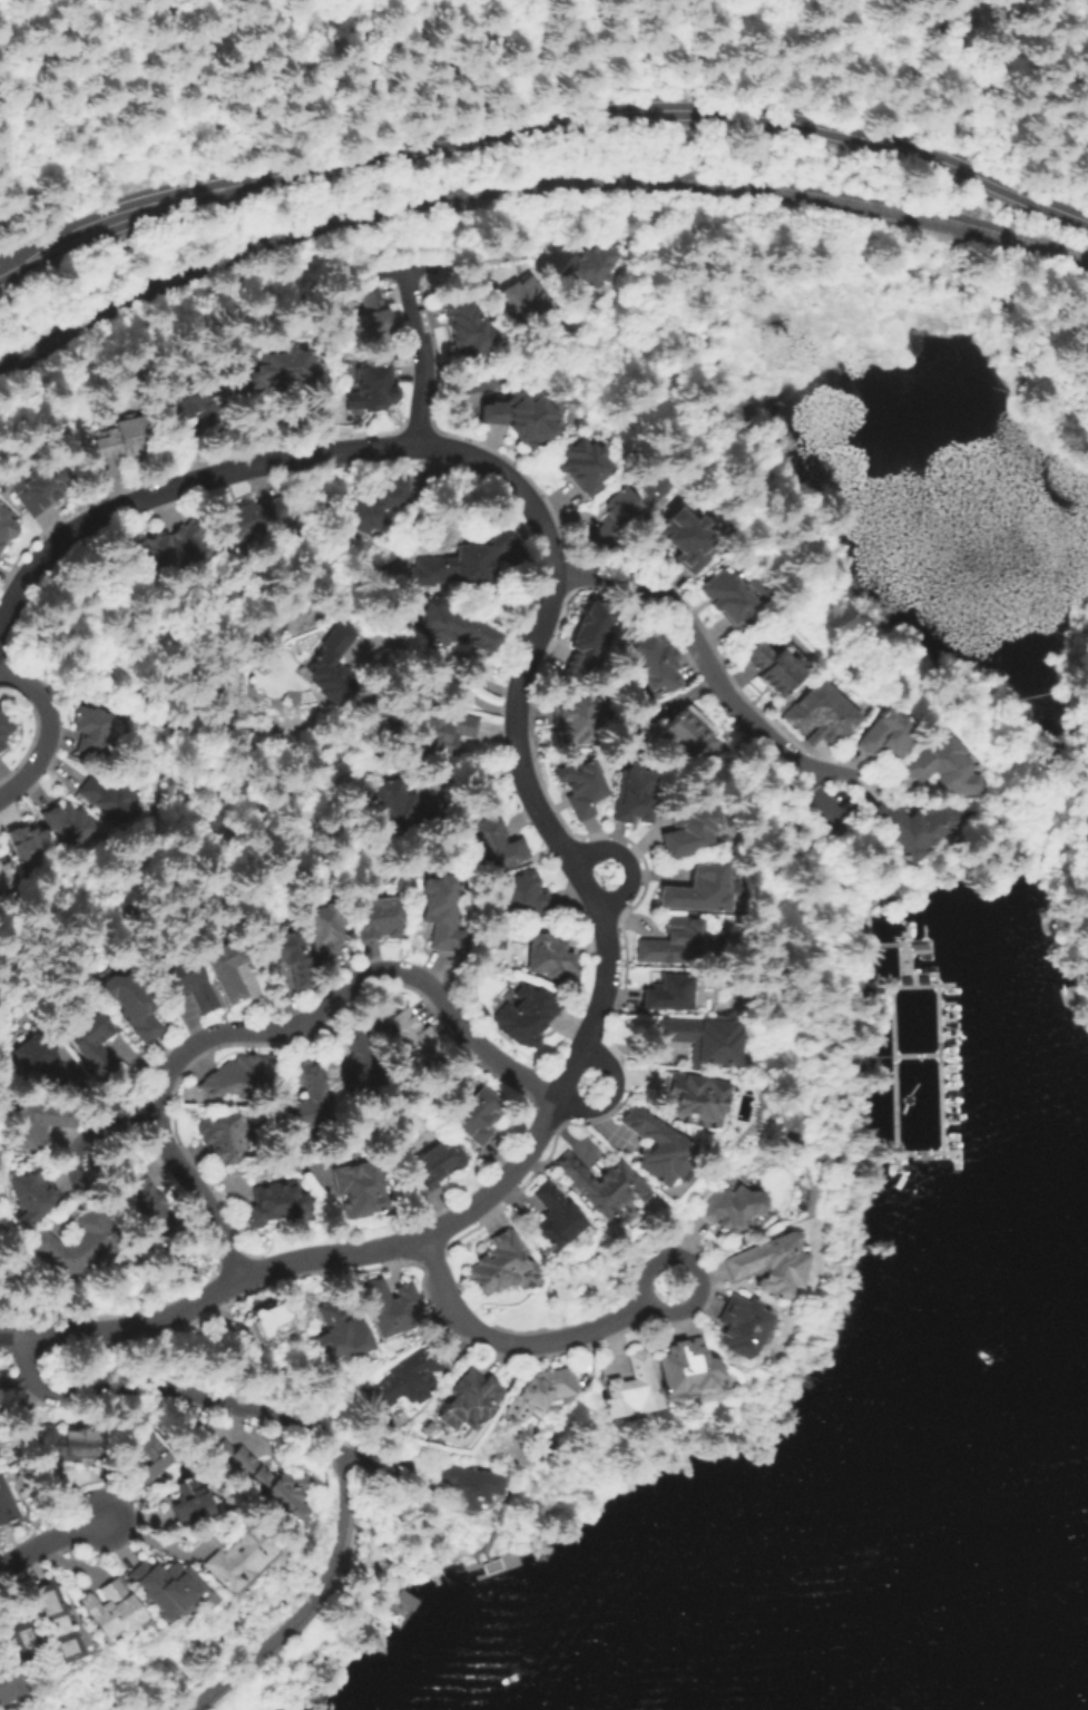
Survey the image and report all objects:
park: (503, 75)
road: (529, 125)
road: (889, 143)
railway: (529, 184)
road: (186, 195)
building: (590, 265)
road: (480, 268)
building: (529, 300)
building: (372, 319)
building: (468, 328)
road: (423, 352)
building: (271, 372)
building: (375, 385)
building: (187, 402)
building: (523, 419)
building: (124, 438)
road: (427, 444)
building: (584, 466)
building: (39, 486)
building: (378, 505)
building: (618, 518)
building: (252, 519)
building: (7, 527)
building: (687, 540)
building: (173, 549)
building: (465, 564)
building: (733, 597)
building: (451, 628)
building: (588, 639)
road: (695, 643)
building: (326, 656)
road: (437, 664)
building: (656, 664)
building: (775, 666)
building: (827, 713)
building: (577, 723)
building: (4, 725)
road: (47, 729)
building: (447, 729)
building: (95, 732)
building: (687, 733)
building: (885, 735)
building: (1, 745)
building: (940, 768)
road: (830, 770)
building: (581, 786)
building: (636, 794)
building: (112, 801)
building: (405, 805)
building: (69, 824)
building: (913, 828)
building: (689, 832)
building: (30, 846)
building: (498, 846)
road: (814, 852)
road: (625, 861)
building: (6, 877)
road: (579, 883)
building: (698, 890)
building: (528, 900)
building: (442, 912)
building: (380, 918)
building: (325, 931)
building: (672, 945)
building: (288, 957)
building: (550, 957)
building: (226, 970)
road: (606, 977)
building: (185, 983)
building: (668, 994)
building: (135, 1004)
building: (527, 1019)
road: (271, 1026)
building: (705, 1039)
building: (413, 1040)
building: (95, 1044)
building: (37, 1062)
road: (571, 1066)
building: (360, 1067)
building: (236, 1077)
road: (610, 1096)
building: (306, 1104)
building: (693, 1104)
pier: (939, 1111)
building: (478, 1116)
building: (37, 1123)
road: (96, 1135)
building: (224, 1140)
building: (658, 1147)
road: (251, 1163)
building: (434, 1167)
building: (602, 1184)
building: (356, 1190)
building: (33, 1195)
building: (273, 1203)
building: (150, 1205)
building: (735, 1208)
building: (557, 1216)
building: (79, 1243)
road: (305, 1259)
building: (499, 1264)
building: (772, 1264)
road: (695, 1266)
building: (391, 1310)
building: (266, 1320)
building: (743, 1326)
building: (339, 1331)
road: (509, 1342)
building: (689, 1369)
building: (408, 1379)
building: (545, 1389)
building: (631, 1391)
building: (471, 1406)
road: (315, 1430)
building: (67, 1444)
building: (150, 1452)
building: (261, 1482)
building: (468, 1485)
building: (183, 1503)
building: (4, 1504)
road: (49, 1540)
building: (228, 1554)
building: (155, 1586)
building: (400, 1602)
building: (101, 1609)
building: (36, 1628)
building: (6, 1689)

